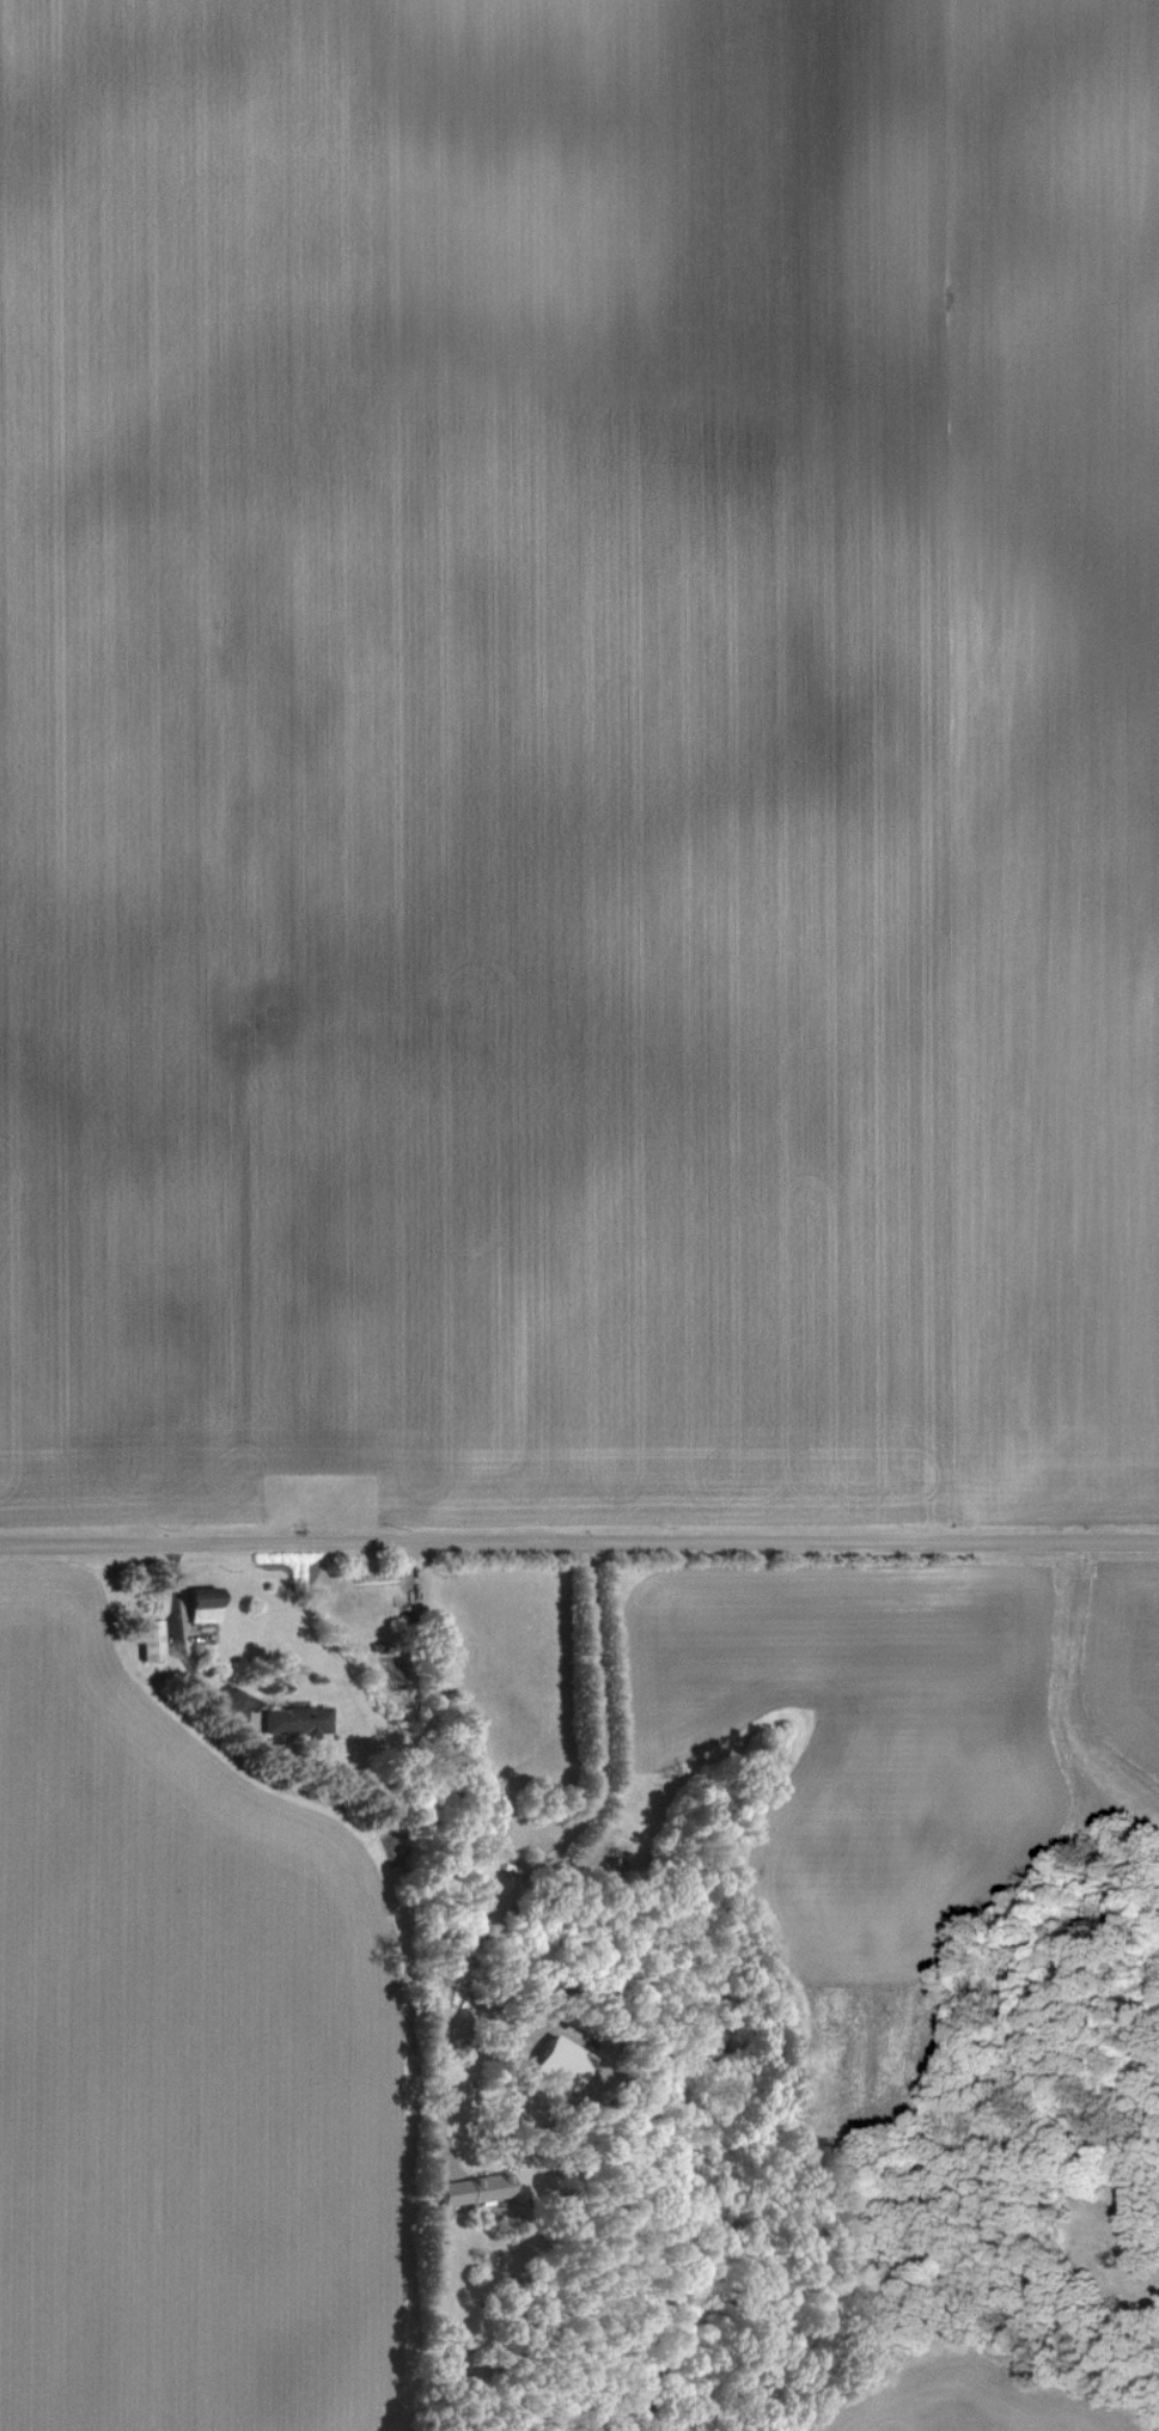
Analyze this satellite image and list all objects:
road: (579, 1546)
building: (197, 1604)
building: (148, 1640)
road: (181, 1643)
building: (292, 1720)
road: (545, 1857)
building: (559, 2063)
building: (471, 2189)

